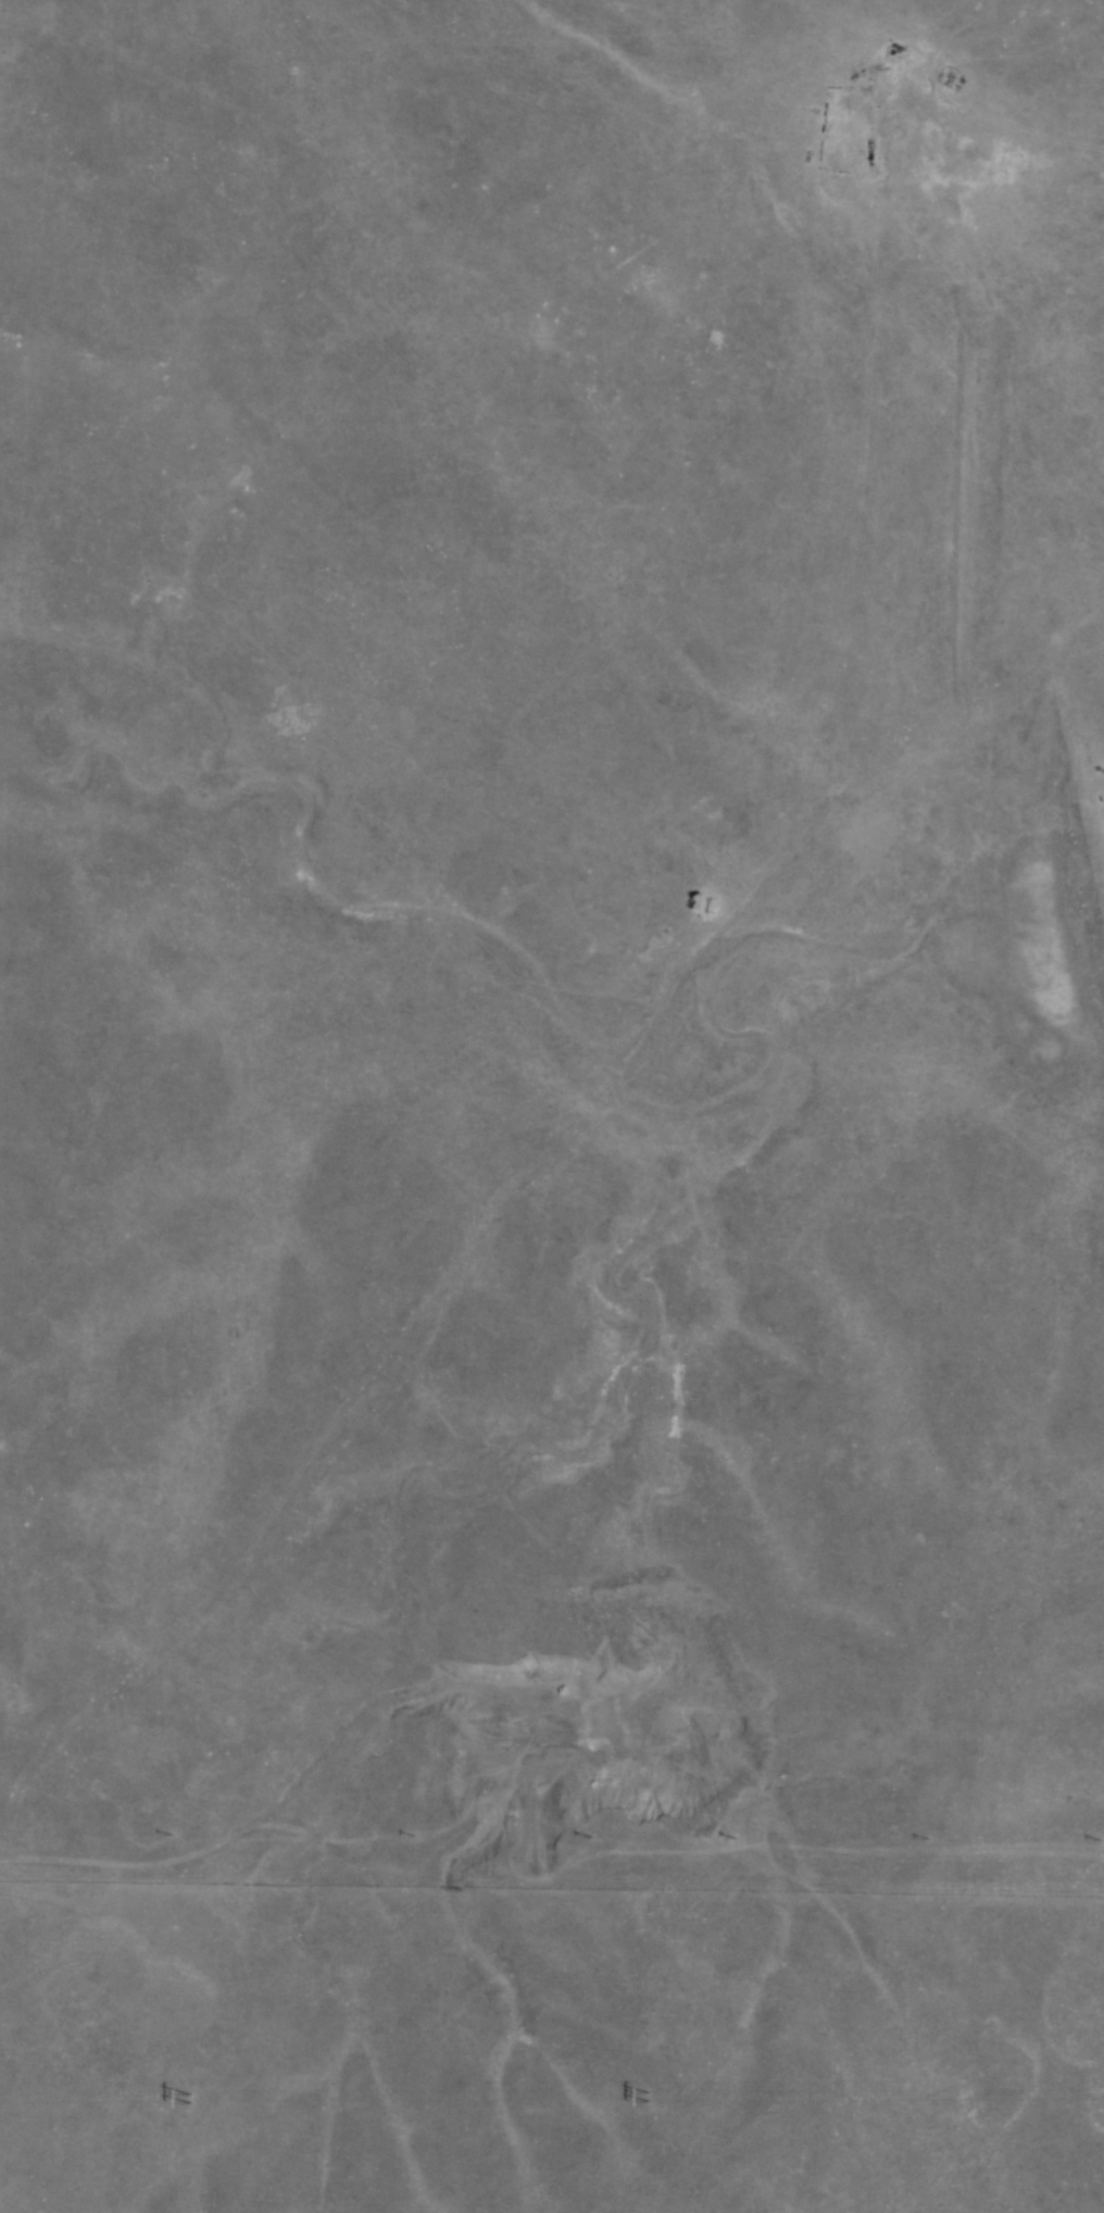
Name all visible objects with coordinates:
dam: (1081, 812)
power tower: (650, 2097)
power tower: (191, 2098)

